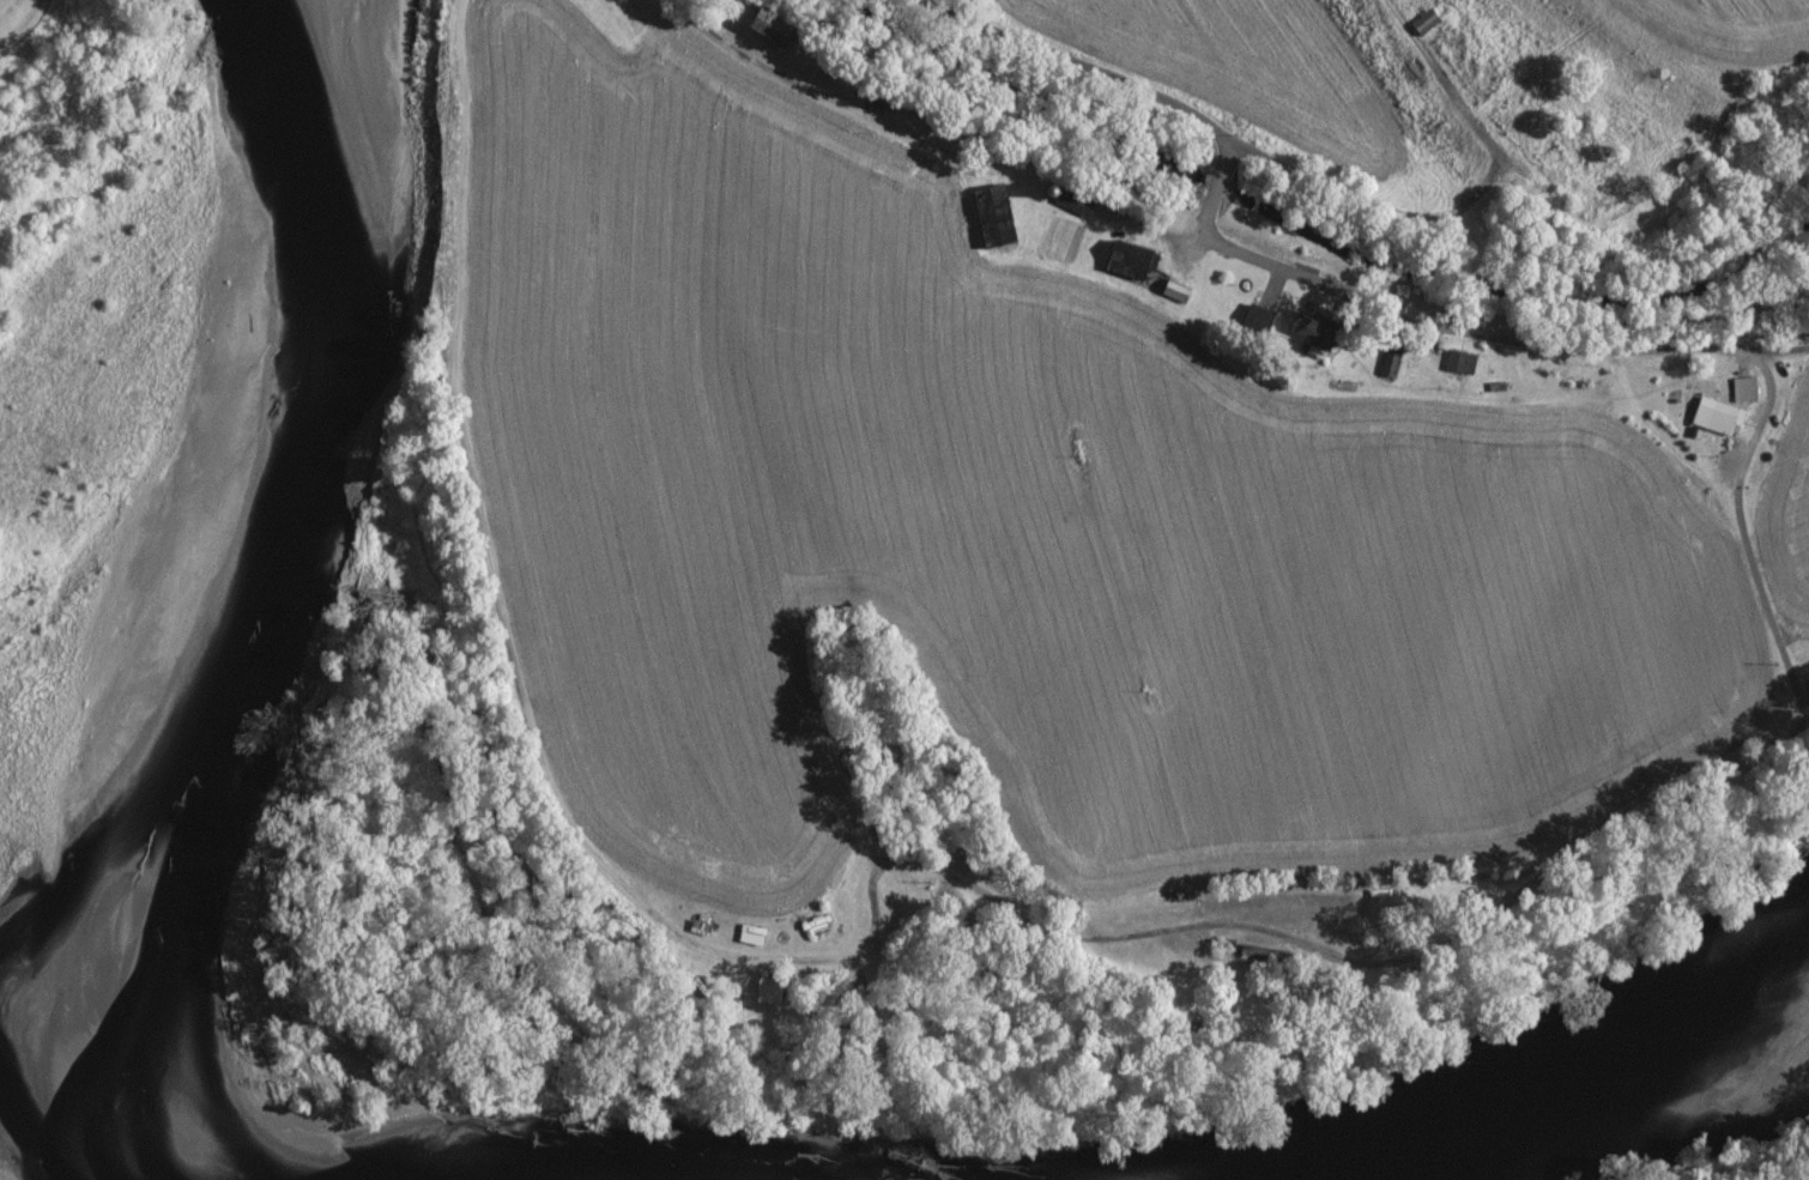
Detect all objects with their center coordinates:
road: (1073, 60)
road: (922, 141)
road: (1439, 214)
building: (990, 216)
road: (1273, 254)
building: (1127, 264)
road: (1406, 316)
building: (1309, 334)
road: (1773, 350)
building: (1458, 362)
building: (1742, 389)
building: (1714, 416)
river: (280, 438)
road: (944, 873)
building: (766, 991)
river: (1563, 1081)
river: (40, 1176)

